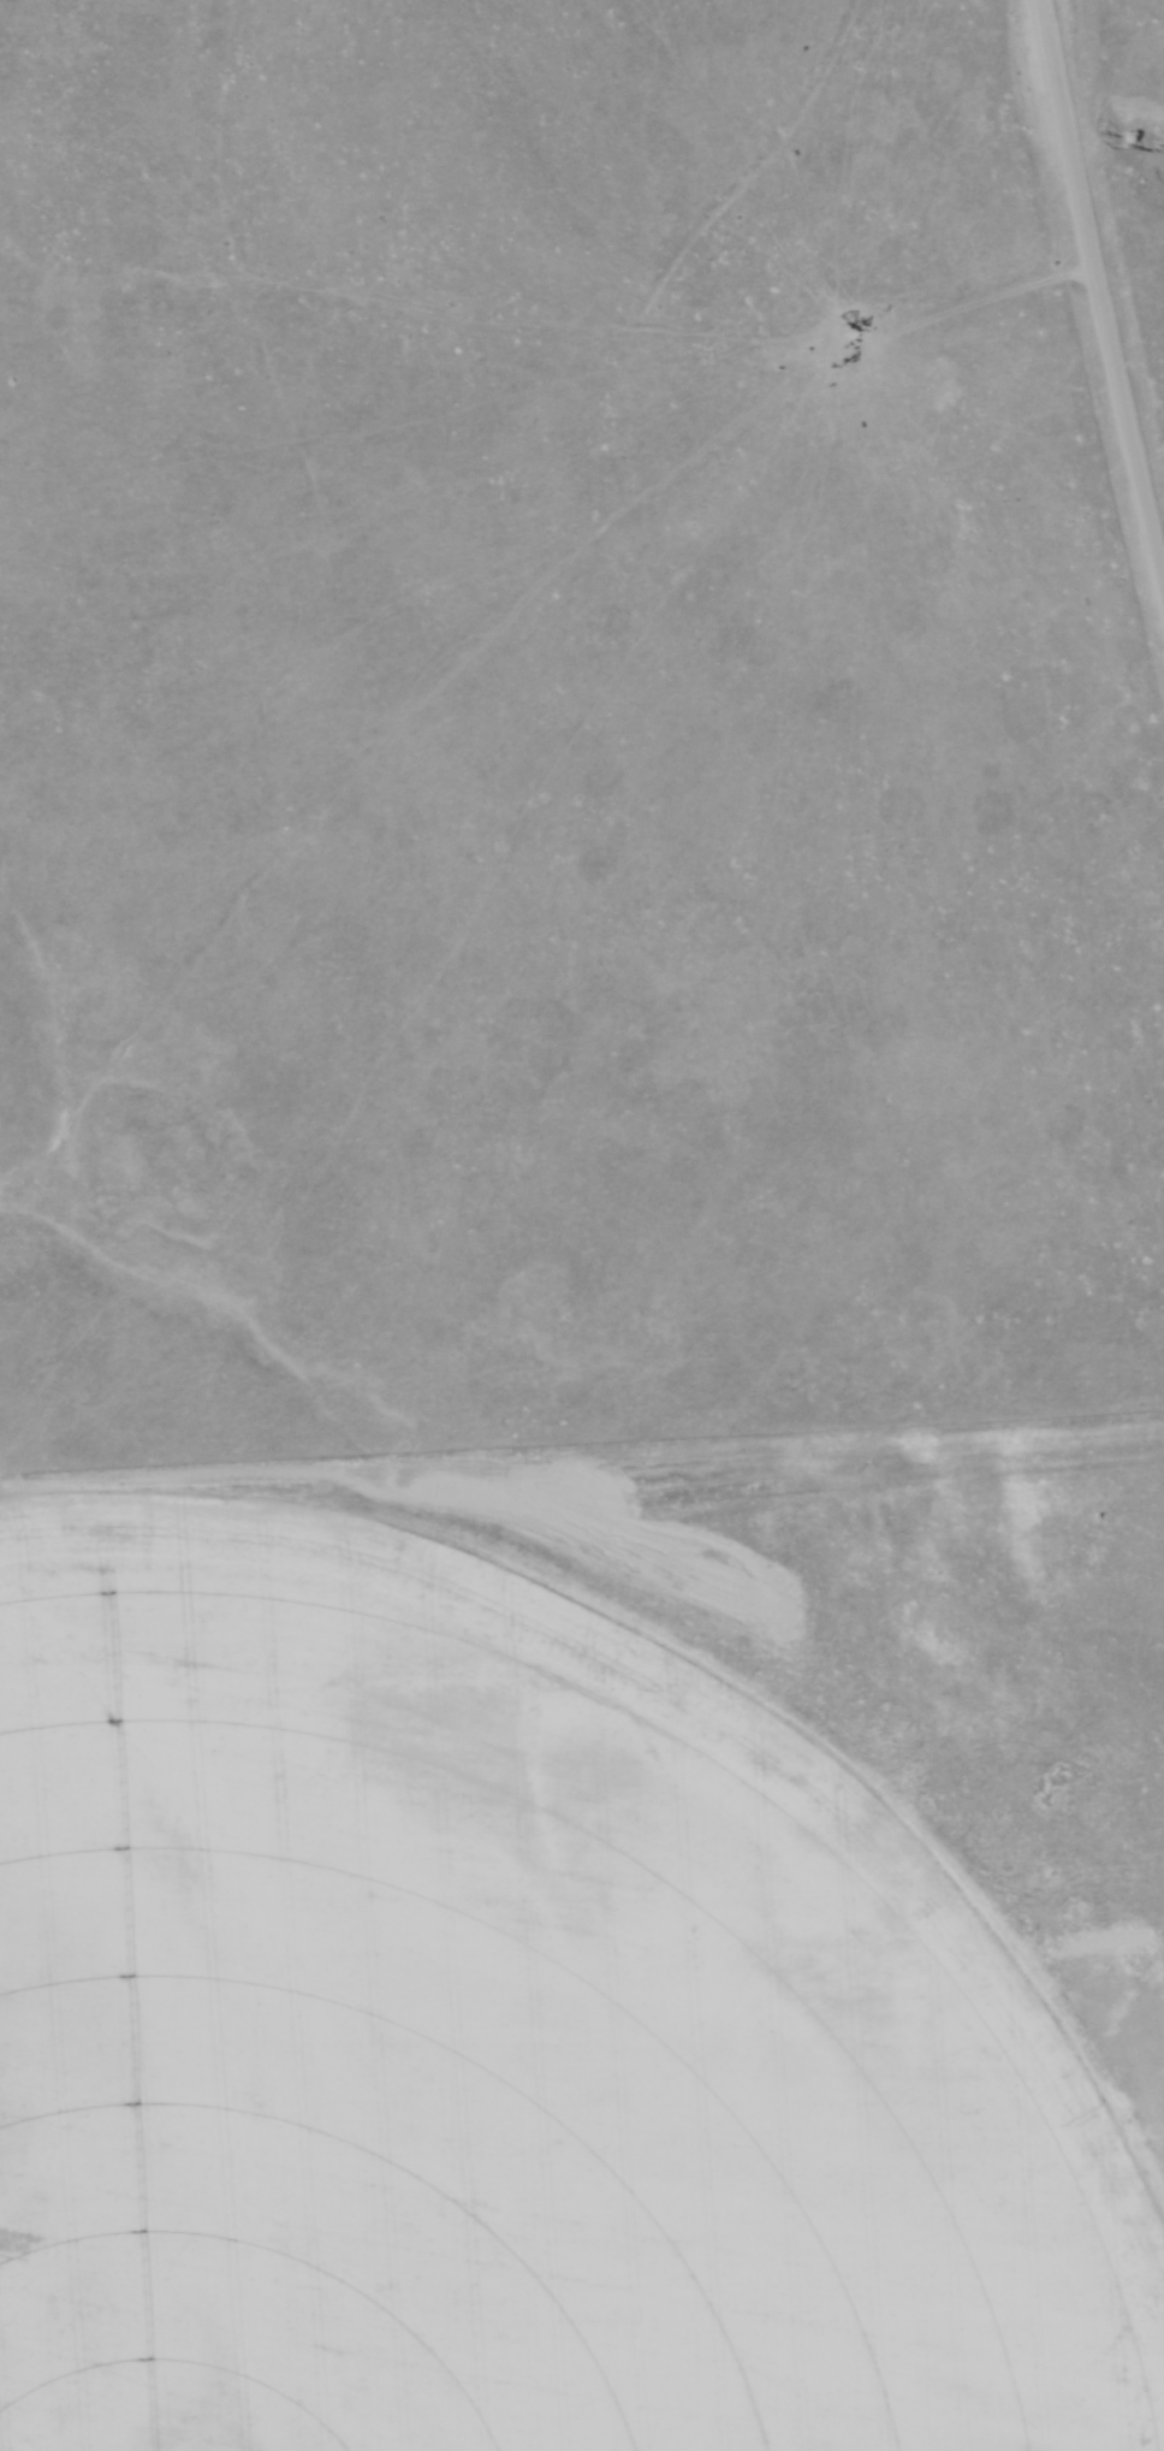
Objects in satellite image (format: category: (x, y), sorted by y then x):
road: (1095, 296)

